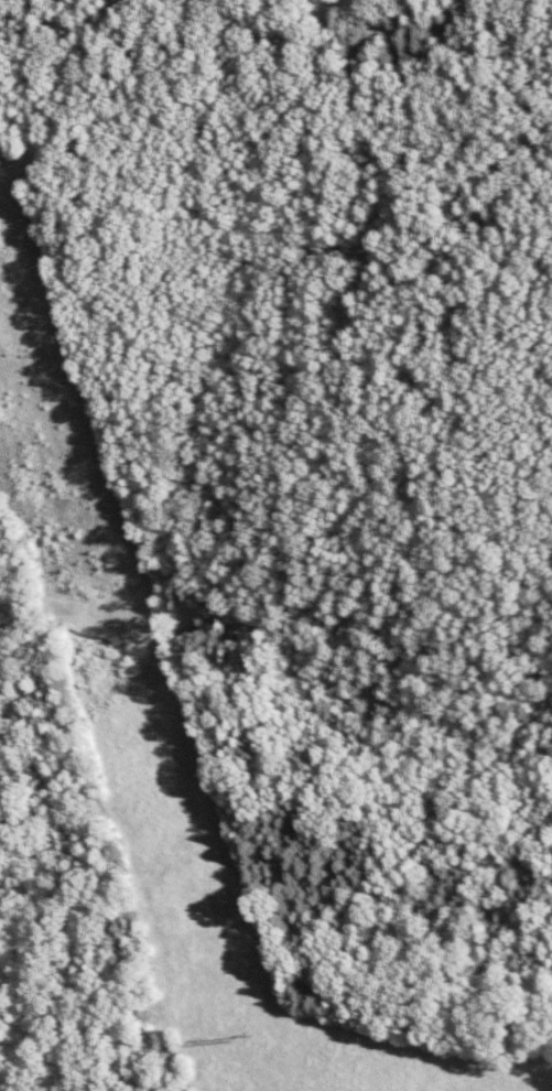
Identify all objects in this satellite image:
power tower: (235, 1040)

